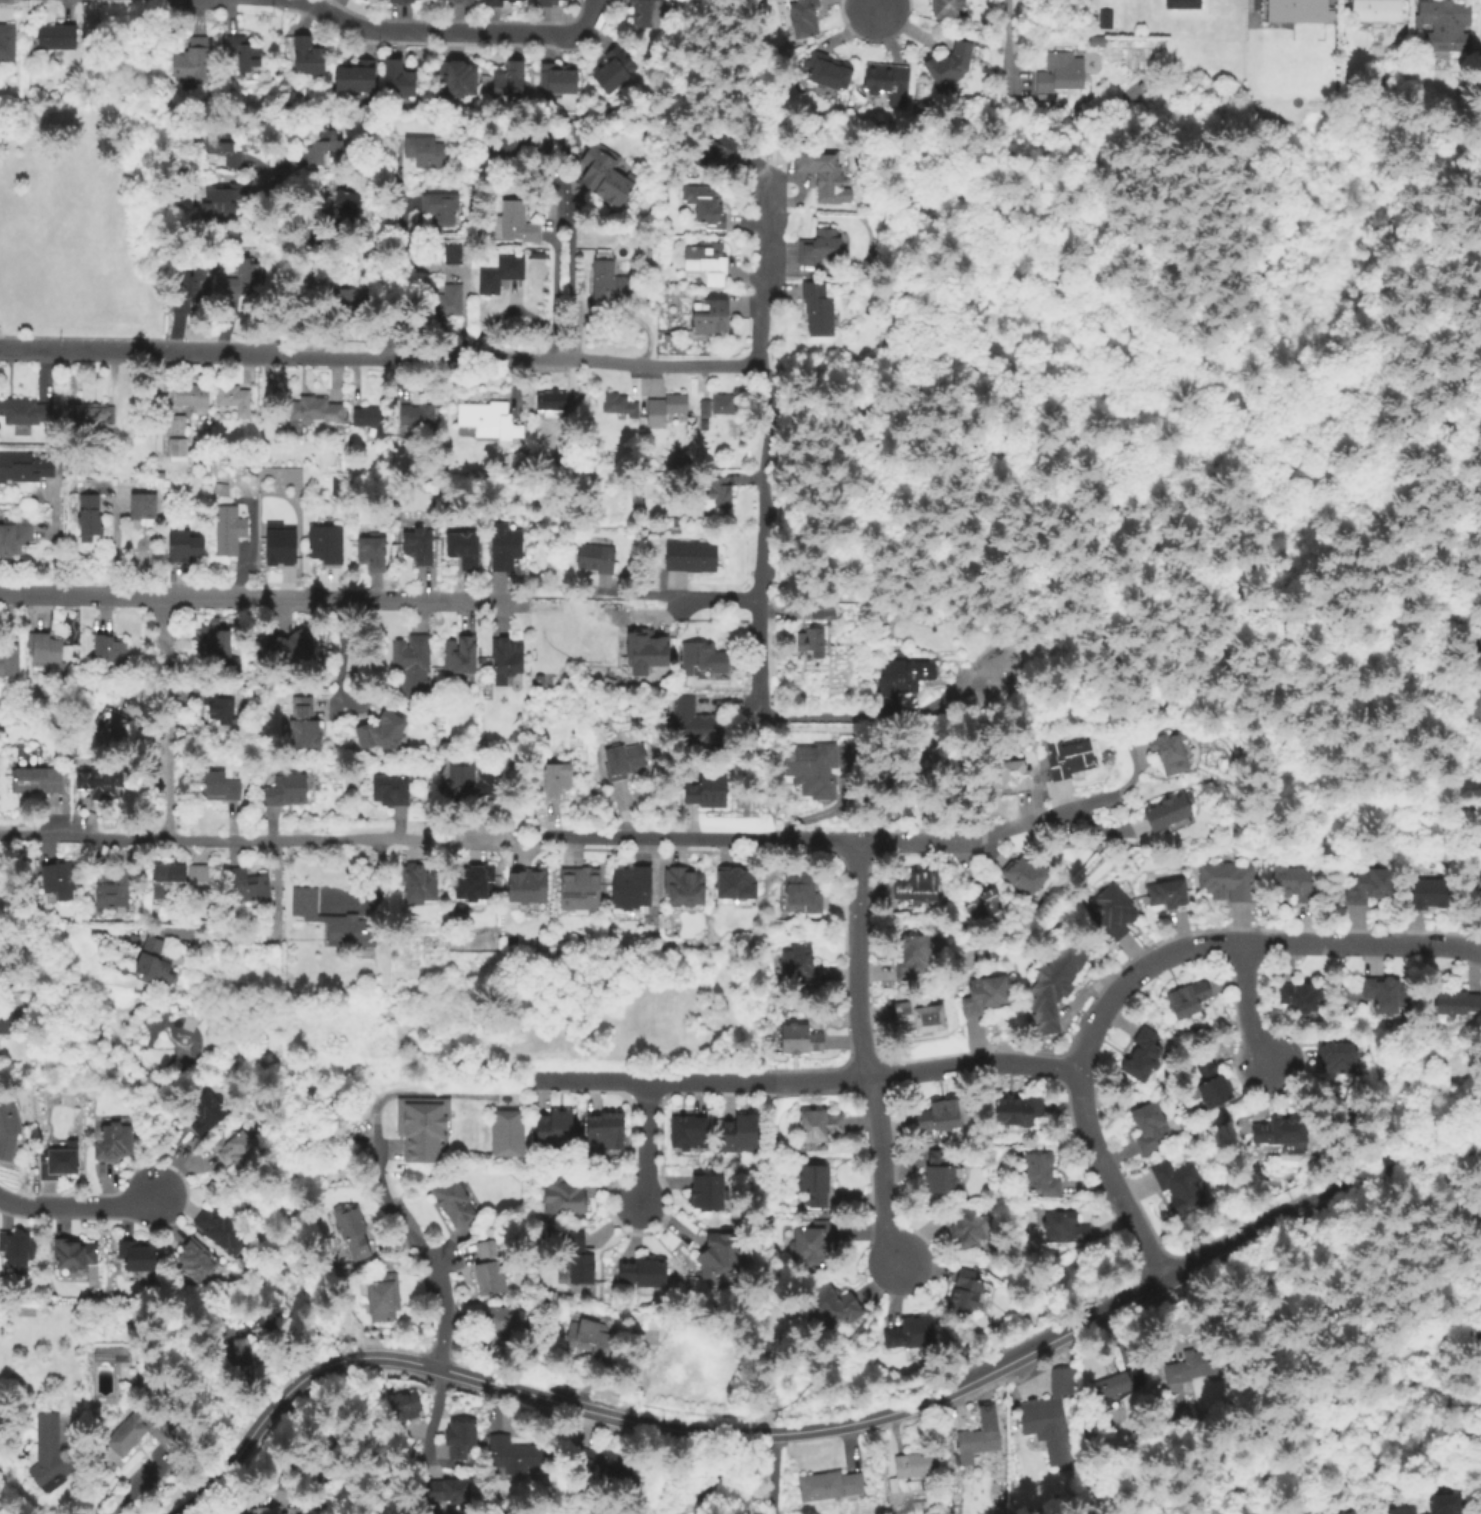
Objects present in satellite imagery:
building: (364, 1)
road: (313, 2)
building: (405, 3)
building: (460, 3)
building: (549, 3)
building: (503, 4)
road: (872, 5)
building: (1184, 5)
building: (949, 9)
building: (1304, 9)
building: (1378, 10)
road: (594, 12)
building: (649, 16)
building: (805, 19)
building: (1107, 20)
building: (1446, 26)
road: (444, 33)
building: (58, 38)
building: (8, 43)
road: (1009, 49)
building: (245, 53)
building: (309, 58)
building: (195, 61)
building: (952, 65)
building: (616, 72)
building: (830, 72)
building: (1063, 74)
building: (455, 77)
building: (357, 78)
road: (138, 79)
building: (887, 79)
building: (401, 81)
building: (558, 82)
building: (512, 84)
road: (1038, 131)
building: (519, 143)
building: (325, 147)
building: (226, 149)
building: (714, 152)
building: (428, 153)
building: (607, 178)
building: (827, 179)
road: (1145, 195)
building: (224, 200)
building: (342, 201)
building: (443, 209)
building: (712, 209)
building: (519, 224)
building: (819, 247)
building: (652, 253)
building: (455, 256)
building: (707, 259)
road: (393, 261)
road: (280, 262)
road: (556, 264)
building: (239, 269)
building: (502, 274)
building: (617, 281)
building: (193, 289)
building: (340, 296)
building: (355, 298)
building: (449, 301)
building: (675, 306)
building: (820, 309)
building: (712, 314)
road: (84, 351)
road: (466, 359)
road: (838, 380)
building: (195, 397)
building: (235, 399)
building: (550, 403)
building: (620, 405)
building: (724, 405)
building: (666, 409)
building: (707, 409)
building: (24, 411)
building: (317, 411)
building: (91, 416)
building: (418, 416)
building: (486, 418)
building: (372, 420)
building: (176, 424)
road: (766, 444)
building: (179, 449)
building: (682, 462)
building: (28, 468)
road: (1303, 471)
road: (1477, 476)
building: (337, 487)
building: (718, 492)
building: (145, 503)
building: (89, 513)
road: (1093, 530)
building: (229, 531)
road: (1387, 533)
building: (16, 537)
road: (53, 542)
building: (326, 546)
building: (421, 547)
building: (506, 547)
building: (281, 548)
building: (186, 550)
building: (465, 551)
building: (374, 555)
building: (693, 556)
building: (597, 558)
road: (857, 571)
road: (560, 595)
road: (681, 597)
road: (261, 600)
building: (824, 612)
building: (590, 617)
building: (1479, 636)
building: (812, 640)
building: (217, 642)
building: (47, 650)
building: (110, 650)
building: (646, 650)
building: (293, 651)
building: (461, 656)
building: (10, 658)
building: (506, 658)
building: (705, 658)
building: (414, 667)
building: (905, 676)
building: (1465, 711)
building: (218, 712)
road: (838, 716)
road: (167, 719)
building: (698, 723)
building: (114, 732)
building: (303, 732)
building: (382, 736)
building: (1167, 752)
building: (1069, 757)
building: (626, 761)
road: (764, 762)
building: (1010, 770)
building: (814, 771)
building: (951, 774)
building: (462, 778)
building: (558, 781)
building: (39, 782)
building: (100, 785)
building: (496, 785)
building: (220, 792)
building: (710, 792)
building: (289, 793)
building: (392, 793)
building: (891, 808)
building: (1170, 812)
road: (989, 836)
road: (522, 838)
road: (188, 839)
road: (441, 839)
road: (698, 839)
road: (523, 854)
building: (1028, 874)
building: (60, 875)
building: (171, 876)
building: (200, 878)
building: (250, 882)
building: (421, 882)
building: (479, 882)
building: (687, 882)
building: (739, 882)
building: (1228, 882)
building: (529, 883)
building: (1295, 884)
building: (580, 885)
building: (633, 885)
building: (920, 885)
building: (117, 888)
building: (1369, 889)
building: (800, 890)
building: (1429, 892)
building: (1169, 893)
building: (1479, 896)
building: (987, 908)
building: (1112, 911)
building: (336, 921)
road: (268, 935)
building: (136, 937)
road: (1209, 942)
building: (915, 956)
building: (101, 960)
building: (156, 961)
building: (801, 963)
building: (1052, 985)
building: (986, 994)
building: (1387, 994)
building: (1302, 995)
building: (1190, 999)
building: (1456, 1003)
road: (1249, 1006)
building: (921, 1012)
building: (6, 1020)
building: (802, 1039)
building: (1144, 1055)
road: (867, 1056)
building: (1340, 1056)
road: (977, 1064)
road: (815, 1079)
building: (1214, 1084)
road: (636, 1085)
building: (209, 1112)
building: (1021, 1112)
building: (942, 1113)
building: (422, 1125)
building: (605, 1126)
building: (556, 1127)
building: (821, 1127)
building: (1151, 1127)
building: (8, 1129)
building: (1283, 1130)
building: (690, 1131)
building: (508, 1132)
building: (742, 1133)
building: (116, 1140)
road: (648, 1145)
building: (236, 1149)
road: (1423, 1159)
building: (61, 1163)
building: (940, 1171)
building: (1041, 1174)
building: (816, 1187)
building: (1180, 1187)
building: (710, 1193)
building: (565, 1195)
building: (457, 1202)
road: (79, 1206)
road: (1129, 1213)
building: (1066, 1227)
building: (223, 1228)
building: (969, 1229)
building: (353, 1230)
building: (815, 1242)
building: (19, 1246)
building: (72, 1251)
building: (139, 1255)
building: (724, 1256)
building: (198, 1259)
building: (578, 1260)
road: (436, 1265)
road: (1249, 1265)
building: (490, 1267)
building: (645, 1273)
road: (1150, 1286)
road: (1255, 1287)
building: (966, 1292)
building: (385, 1296)
building: (836, 1304)
building: (501, 1324)
building: (912, 1332)
building: (593, 1337)
building: (234, 1345)
building: (113, 1353)
building: (1196, 1365)
building: (1116, 1384)
building: (1176, 1388)
road: (523, 1391)
road: (1274, 1396)
building: (406, 1404)
building: (990, 1416)
building: (1050, 1416)
road: (429, 1418)
building: (142, 1431)
building: (462, 1438)
building: (975, 1446)
building: (52, 1452)
building: (512, 1453)
building: (580, 1458)
building: (615, 1463)
building: (913, 1470)
road: (771, 1473)
road: (723, 1475)
building: (831, 1486)
building: (449, 1490)
road: (1237, 1502)
building: (1442, 1502)
building: (1400, 1509)
building: (267, 1510)
building: (296, 1511)
building: (1346, 1511)
road: (1238, 1512)

